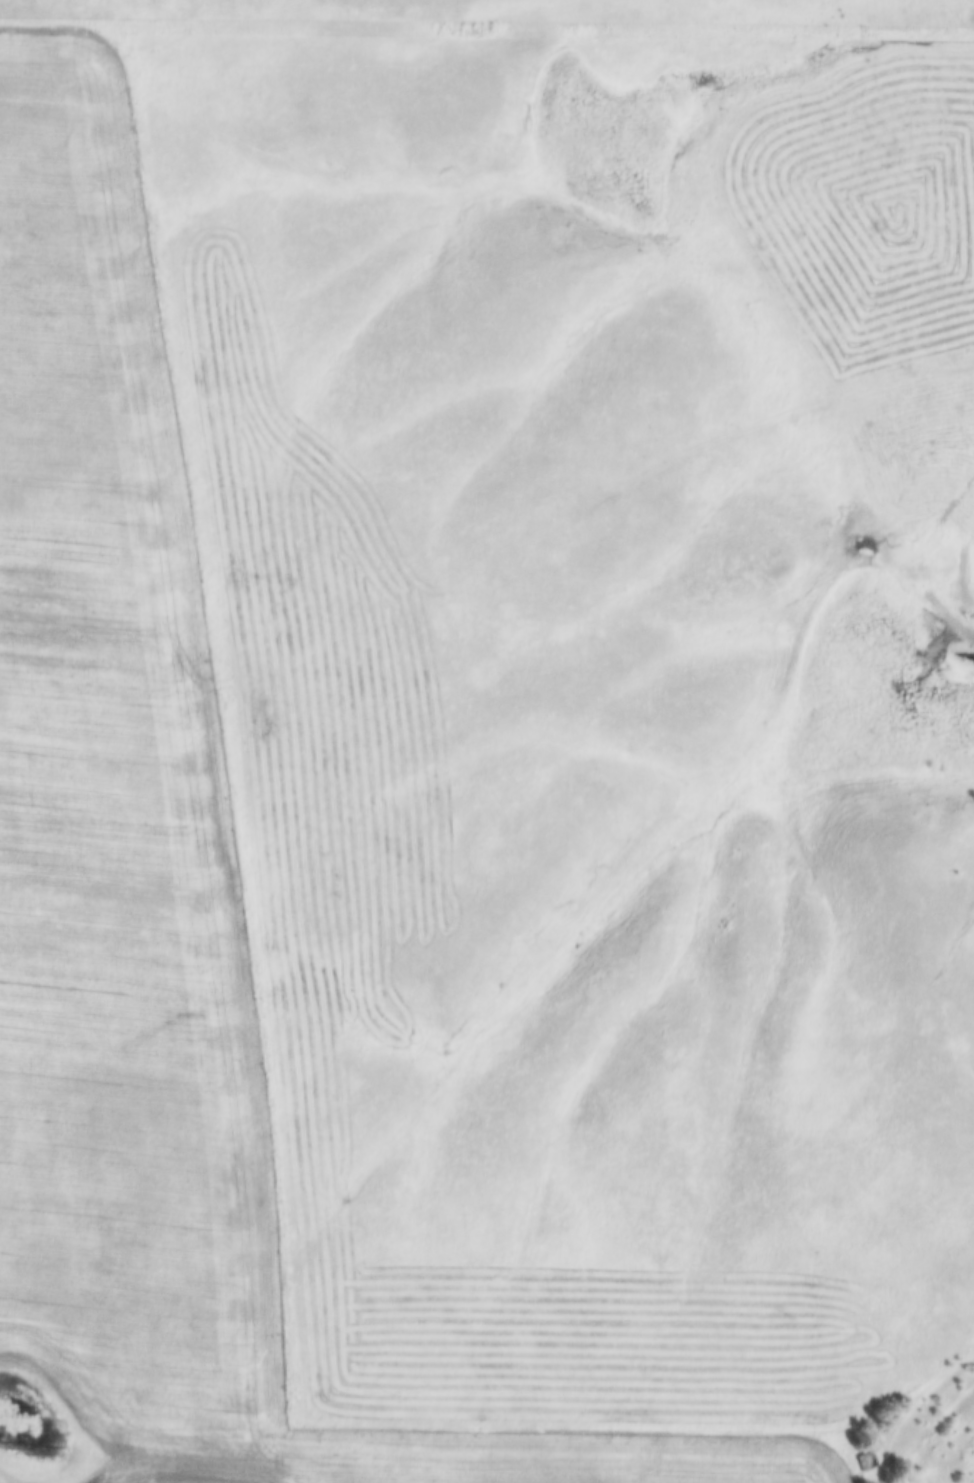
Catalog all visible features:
road: (486, 33)
building: (865, 1462)

